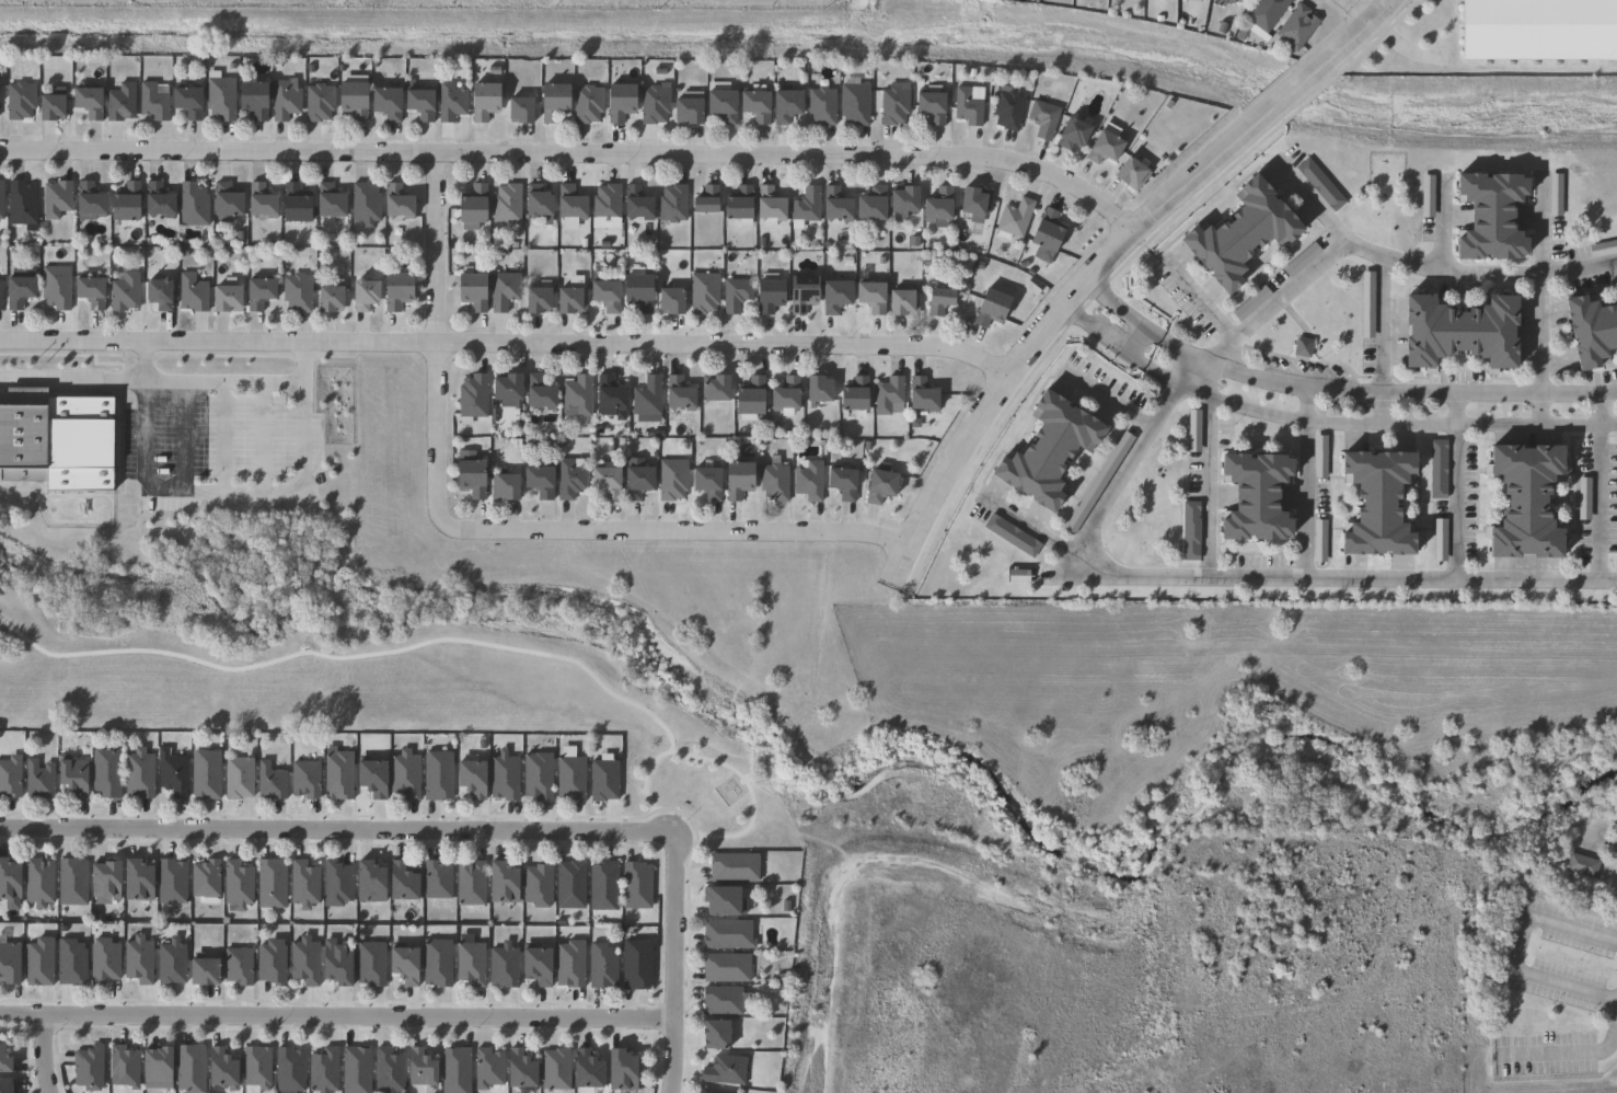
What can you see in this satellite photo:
building: (1234, 1)
road: (1352, 11)
building: (1267, 13)
building: (1297, 27)
building: (1540, 30)
road: (1355, 31)
road: (1289, 91)
building: (219, 99)
building: (19, 101)
building: (252, 101)
building: (285, 101)
building: (351, 101)
building: (450, 102)
building: (483, 102)
building: (88, 103)
building: (119, 103)
building: (152, 103)
building: (186, 103)
building: (317, 103)
building: (553, 103)
building: (620, 103)
building: (721, 103)
building: (385, 104)
building: (655, 104)
building: (855, 104)
building: (894, 104)
building: (418, 105)
building: (588, 105)
building: (821, 105)
building: (931, 105)
building: (755, 106)
building: (785, 106)
building: (968, 107)
building: (48, 108)
building: (519, 111)
building: (1008, 111)
building: (688, 113)
building: (1043, 119)
building: (1075, 134)
building: (1107, 146)
road: (575, 150)
road: (1194, 173)
building: (1132, 174)
building: (1321, 184)
building: (1552, 195)
building: (0, 196)
building: (55, 198)
building: (88, 198)
building: (706, 198)
building: (157, 199)
building: (224, 199)
building: (328, 199)
building: (975, 199)
building: (259, 200)
building: (396, 200)
building: (535, 200)
building: (903, 200)
road: (1307, 200)
building: (125, 202)
building: (293, 202)
building: (365, 202)
building: (570, 202)
building: (506, 203)
building: (605, 203)
building: (637, 203)
building: (671, 203)
building: (21, 204)
building: (192, 204)
building: (836, 204)
building: (739, 205)
building: (807, 205)
building: (871, 205)
building: (938, 205)
building: (472, 206)
building: (770, 206)
building: (1494, 212)
building: (1015, 218)
road: (1439, 222)
building: (1048, 230)
building: (1243, 231)
building: (1602, 249)
road: (1477, 275)
building: (55, 286)
building: (395, 289)
building: (471, 289)
building: (16, 290)
building: (88, 290)
building: (503, 290)
building: (124, 291)
building: (257, 291)
building: (297, 291)
building: (638, 291)
building: (802, 291)
building: (157, 292)
building: (192, 292)
building: (704, 292)
building: (769, 292)
building: (363, 294)
building: (604, 294)
building: (736, 294)
building: (836, 295)
building: (330, 296)
building: (871, 296)
building: (224, 297)
road: (1539, 298)
building: (536, 299)
building: (570, 299)
building: (670, 299)
building: (940, 300)
building: (903, 301)
road: (1200, 302)
building: (993, 304)
building: (1364, 306)
building: (1593, 329)
building: (1463, 330)
road: (1379, 338)
road: (505, 342)
building: (1304, 347)
road: (141, 359)
road: (1186, 378)
road: (168, 379)
building: (505, 386)
building: (717, 387)
building: (818, 388)
road: (1335, 391)
road: (991, 392)
building: (679, 393)
building: (785, 393)
building: (539, 394)
building: (888, 394)
building: (923, 394)
building: (472, 395)
building: (608, 395)
building: (855, 395)
building: (577, 396)
building: (647, 396)
building: (750, 399)
road: (1106, 400)
road: (1323, 421)
building: (1191, 432)
building: (58, 439)
building: (1049, 450)
road: (1206, 470)
building: (1439, 470)
building: (470, 476)
building: (538, 476)
building: (637, 478)
building: (569, 479)
building: (672, 480)
building: (738, 480)
building: (774, 480)
building: (809, 480)
building: (605, 481)
building: (706, 482)
building: (843, 482)
road: (1305, 483)
road: (1452, 485)
building: (504, 486)
building: (880, 486)
road: (1597, 486)
road: (221, 491)
building: (1257, 496)
building: (1529, 499)
building: (1379, 502)
road: (1025, 525)
road: (484, 530)
building: (1191, 530)
building: (1012, 534)
building: (1020, 575)
road: (1335, 578)
park: (450, 632)
building: (105, 773)
building: (171, 773)
building: (138, 774)
building: (337, 774)
building: (70, 775)
building: (204, 775)
building: (404, 775)
building: (437, 775)
building: (538, 775)
building: (570, 775)
building: (505, 776)
building: (9, 778)
building: (471, 778)
building: (236, 779)
building: (371, 779)
building: (603, 779)
building: (37, 780)
building: (304, 780)
building: (270, 782)
road: (334, 829)
building: (1584, 866)
building: (735, 867)
road: (1613, 875)
building: (205, 879)
building: (437, 881)
building: (135, 882)
building: (170, 882)
building: (8, 883)
building: (38, 883)
building: (70, 883)
building: (102, 883)
building: (368, 883)
building: (402, 883)
building: (270, 884)
building: (336, 884)
building: (470, 884)
building: (500, 884)
building: (236, 885)
building: (303, 885)
building: (536, 885)
building: (569, 885)
building: (603, 886)
building: (635, 886)
building: (723, 901)
building: (727, 935)
road: (1516, 947)
building: (137, 960)
building: (37, 962)
building: (304, 962)
building: (102, 963)
building: (270, 963)
building: (437, 963)
building: (8, 964)
building: (69, 964)
building: (170, 964)
building: (338, 964)
building: (370, 964)
building: (470, 964)
building: (504, 965)
building: (534, 965)
building: (570, 965)
road: (670, 965)
building: (403, 966)
building: (635, 966)
building: (236, 967)
building: (601, 967)
building: (726, 967)
building: (201, 974)
building: (721, 1000)
road: (335, 1016)
building: (715, 1036)
road: (1573, 1052)
road: (42, 1054)
building: (3, 1065)
building: (86, 1068)
building: (122, 1068)
building: (154, 1069)
building: (189, 1069)
building: (255, 1069)
building: (419, 1069)
building: (489, 1069)
building: (557, 1069)
building: (222, 1070)
building: (355, 1070)
building: (455, 1070)
building: (725, 1070)
building: (289, 1071)
building: (323, 1071)
building: (388, 1071)
building: (519, 1071)
building: (586, 1071)
building: (620, 1071)
building: (4, 1086)
building: (709, 1091)

